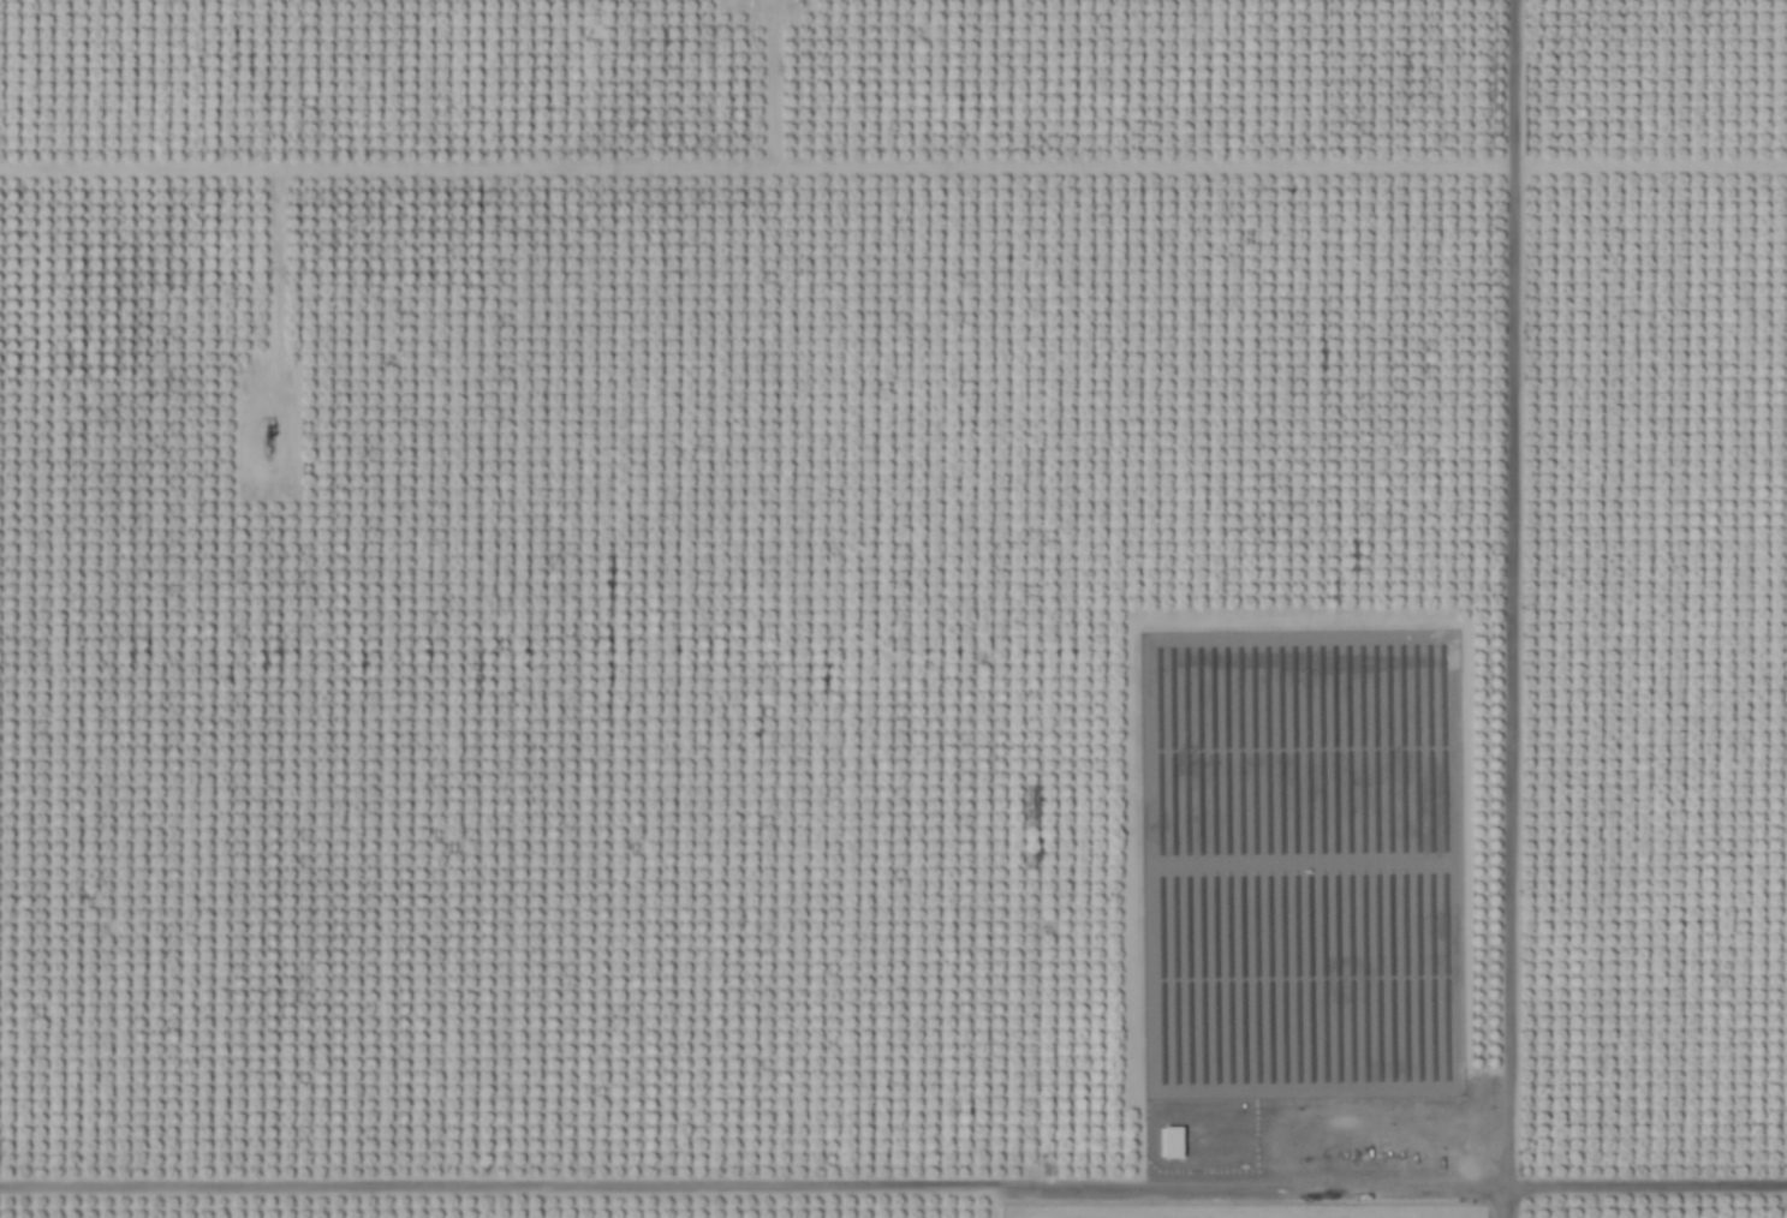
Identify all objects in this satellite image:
solar farm: (1299, 861)
road: (893, 1188)

